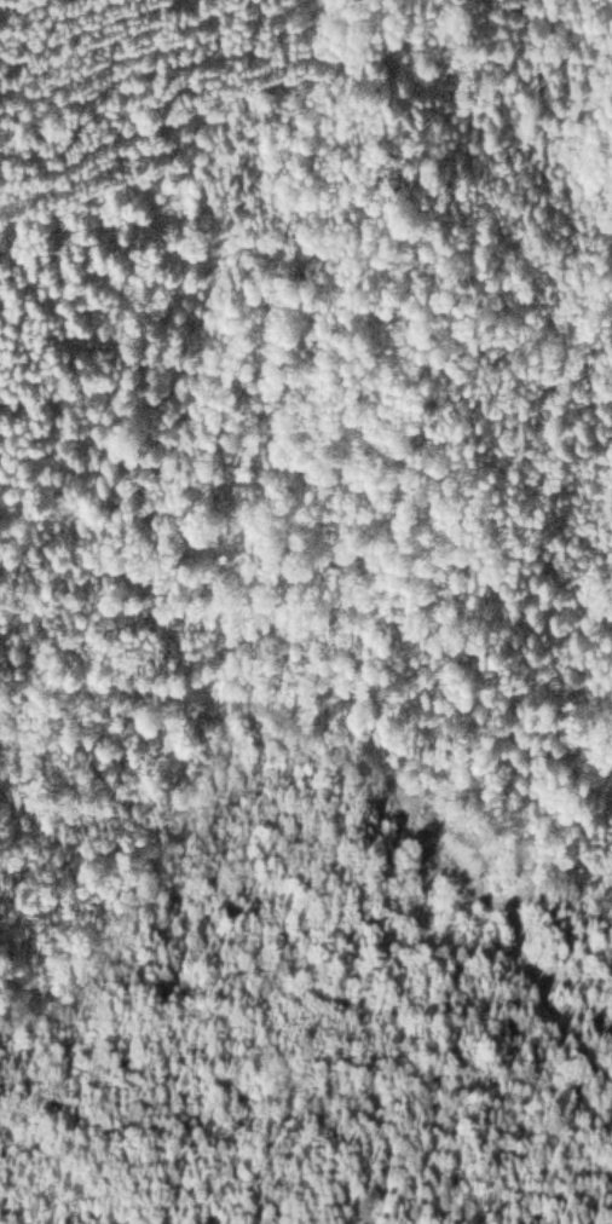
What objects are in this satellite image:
road: (568, 983)

